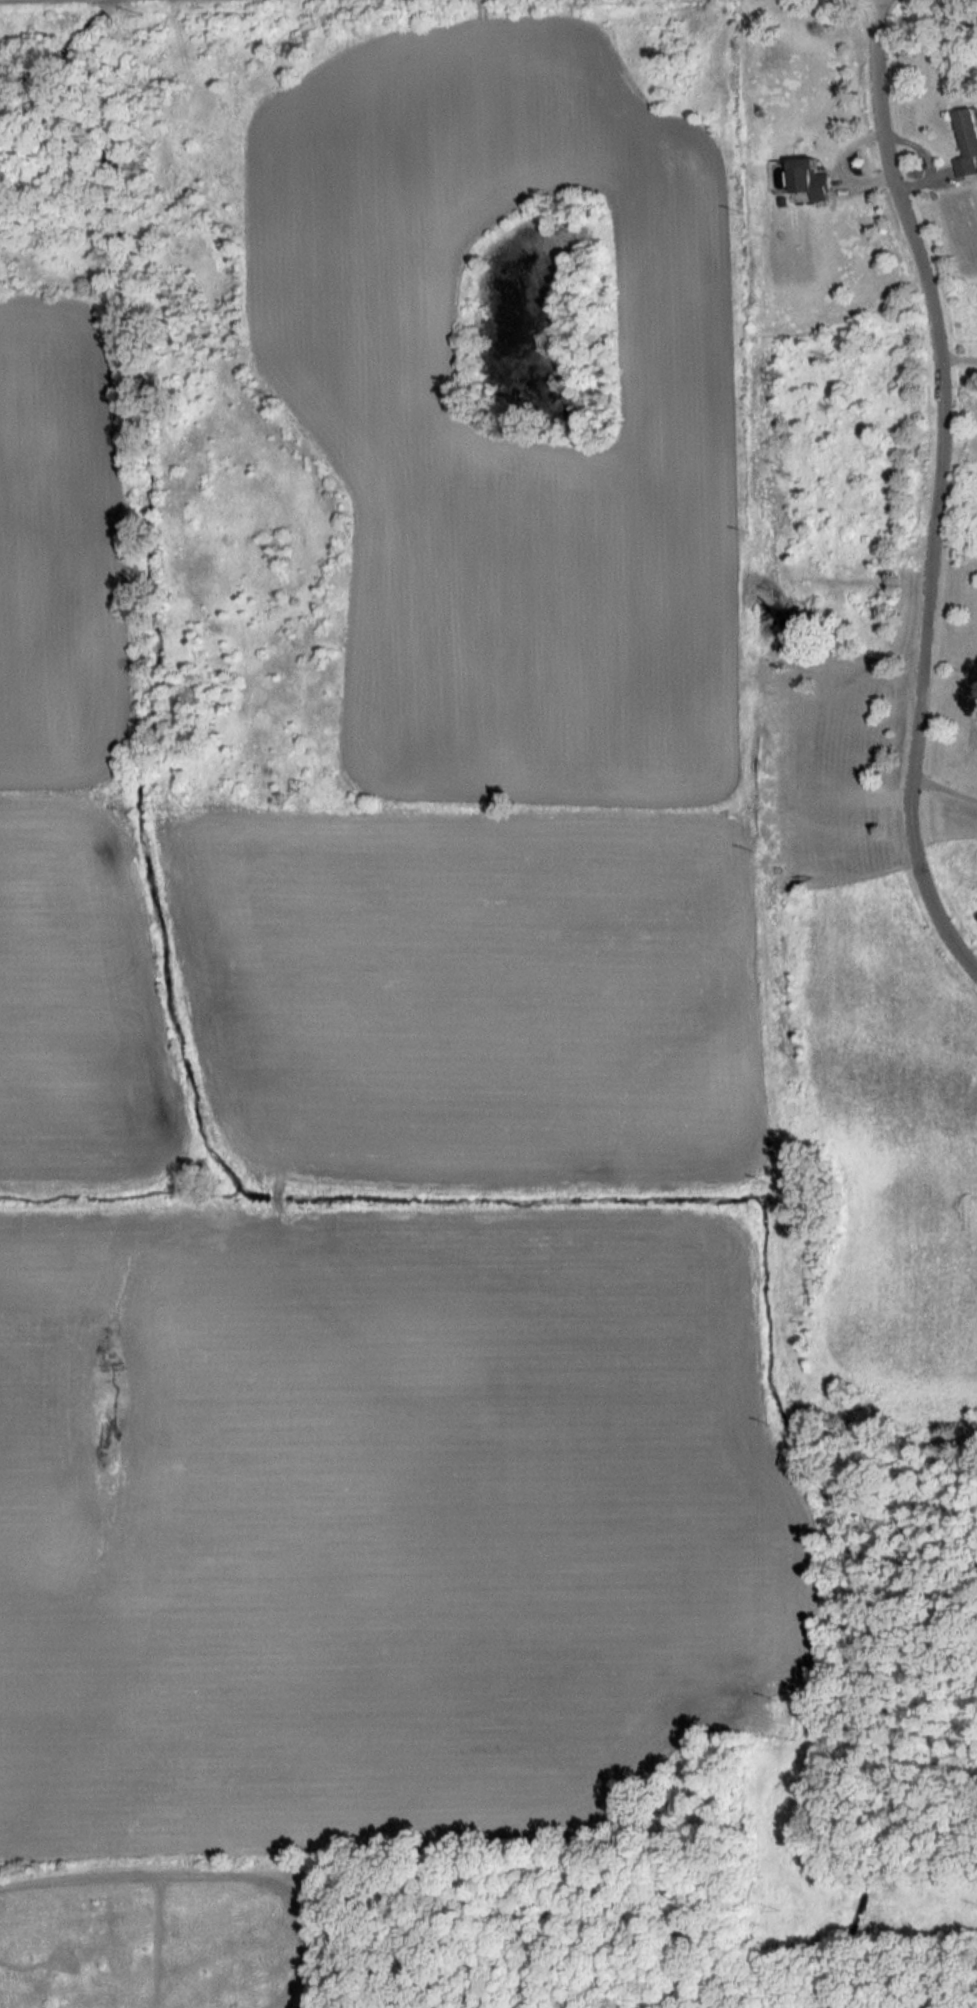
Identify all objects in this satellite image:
building: (967, 141)
building: (810, 178)
road: (960, 354)
road: (942, 483)
road: (947, 787)

